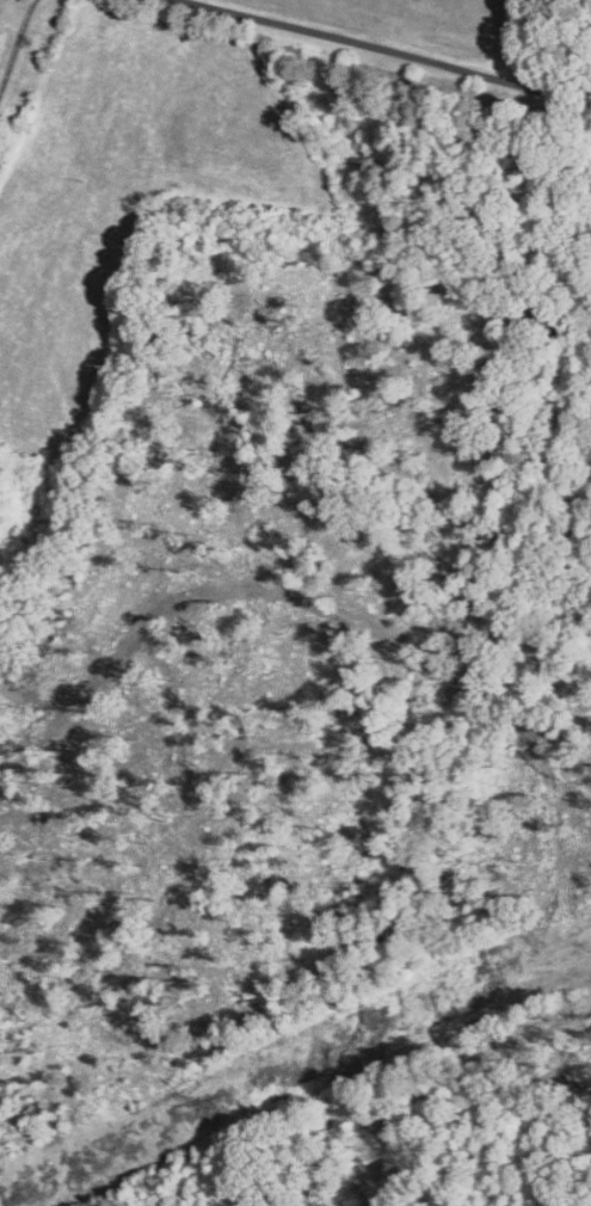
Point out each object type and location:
road: (17, 45)
road: (382, 50)
power tower: (218, 1103)

